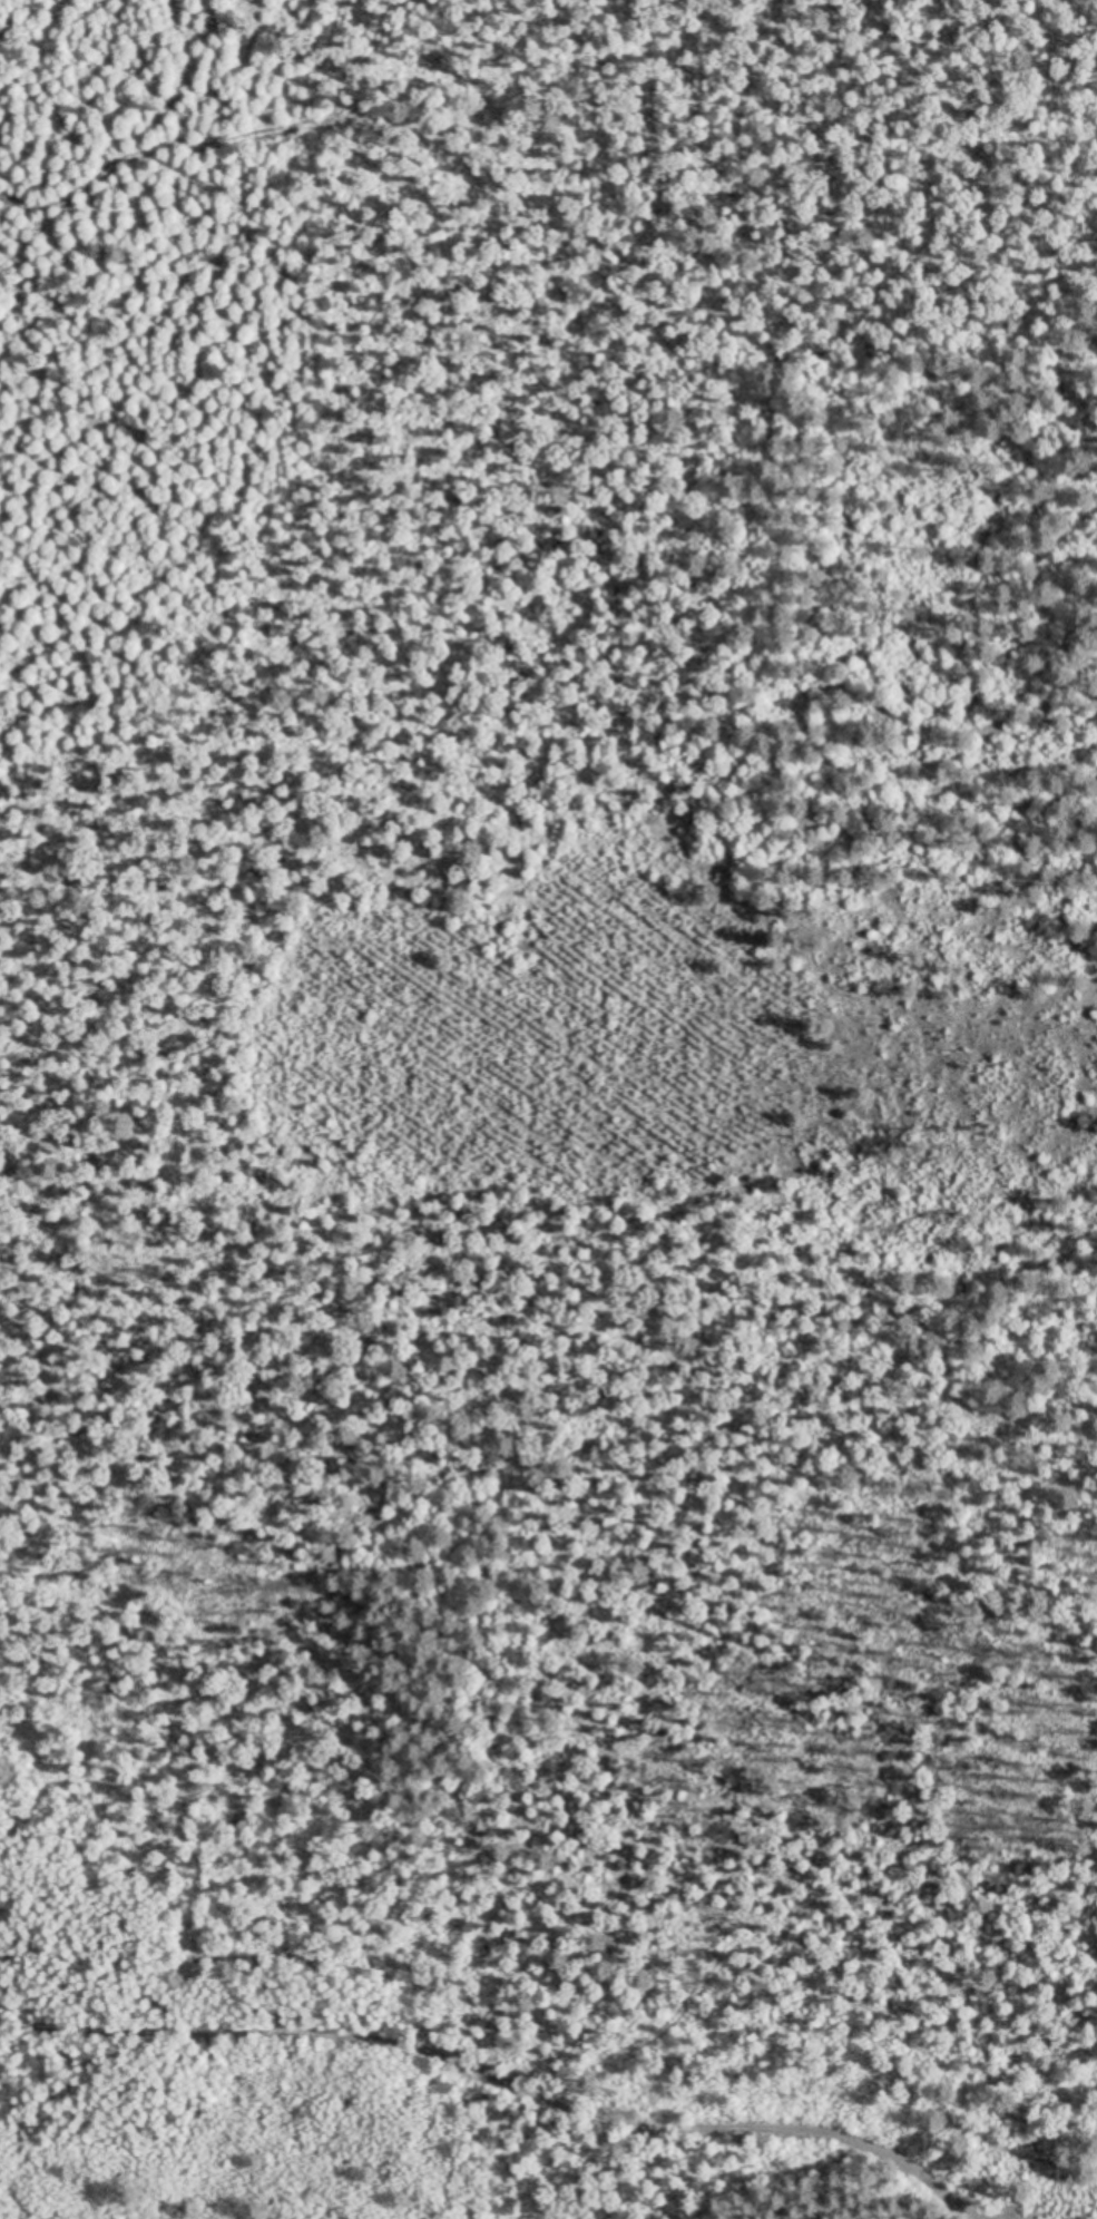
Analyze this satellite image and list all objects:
road: (503, 2054)

